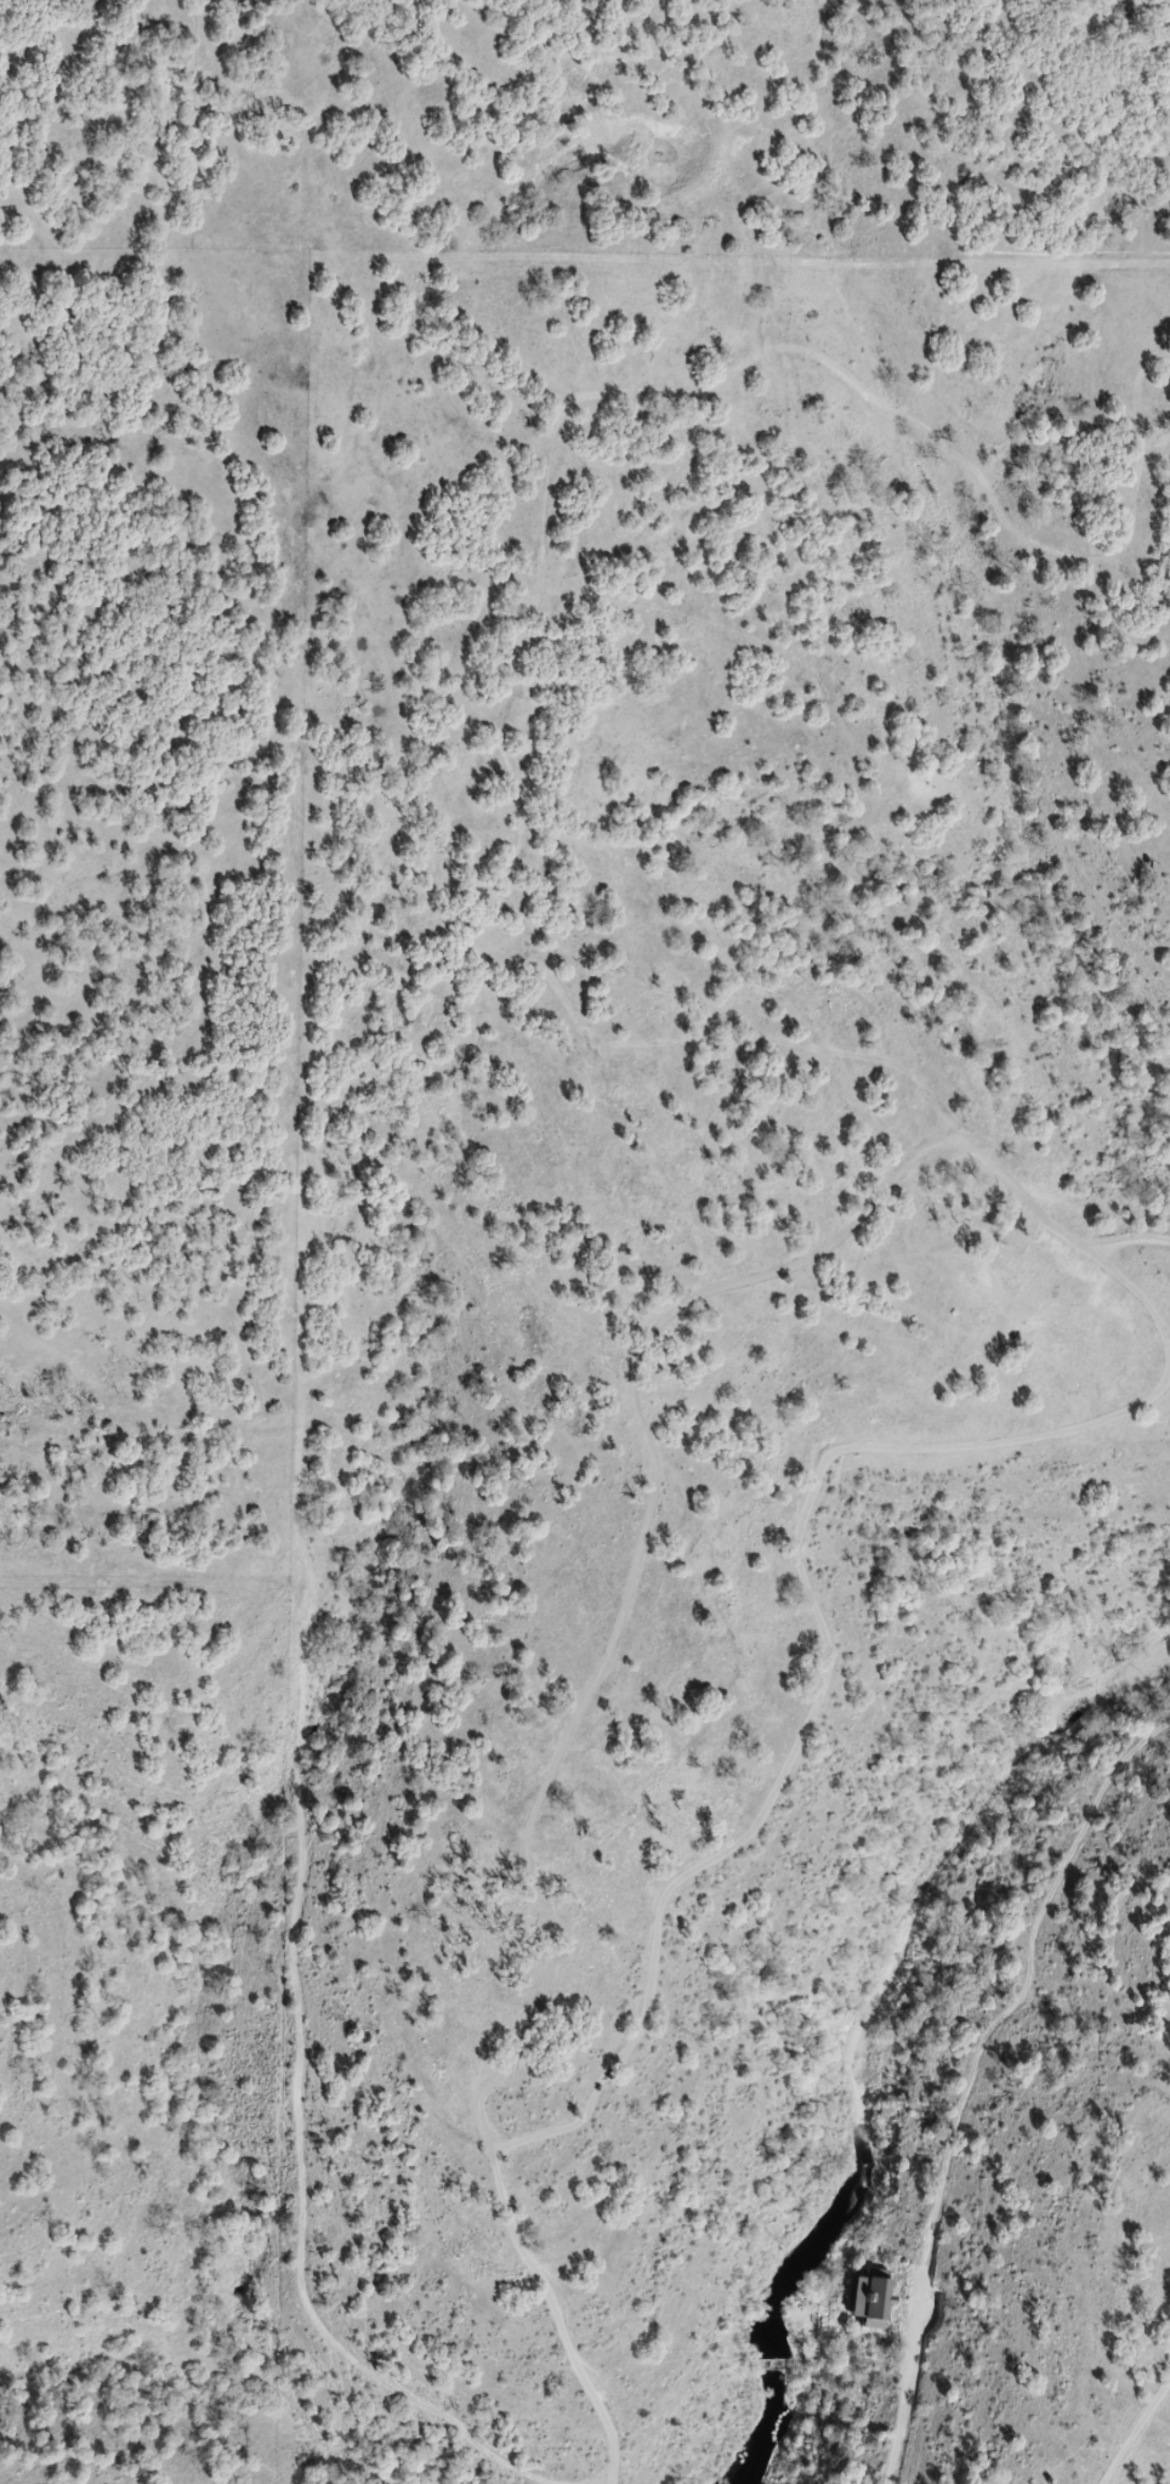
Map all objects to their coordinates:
building: (865, 2299)

